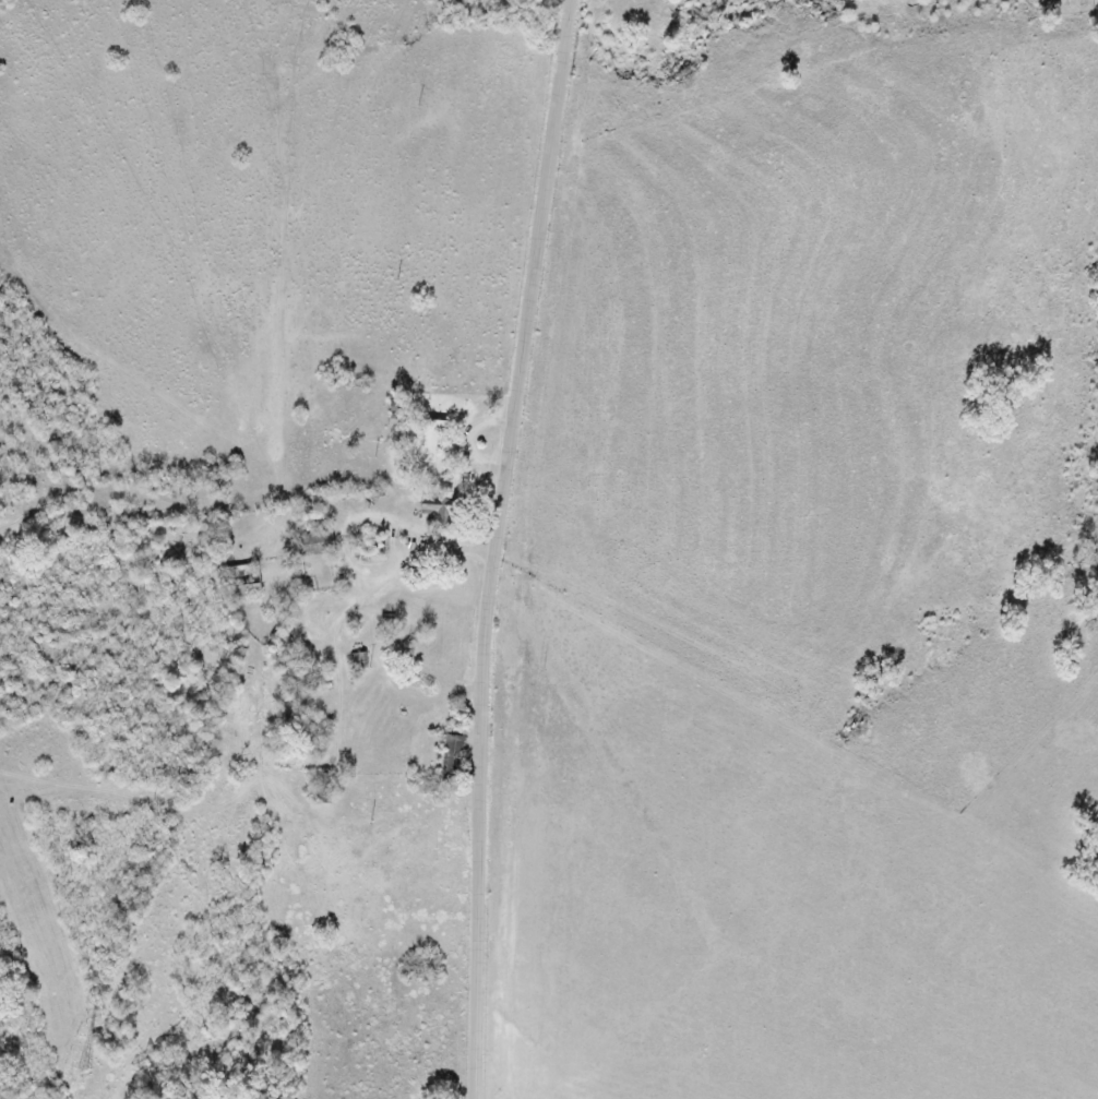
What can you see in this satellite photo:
building: (428, 441)
road: (501, 547)
road: (315, 673)
road: (415, 704)
power tower: (84, 1074)

